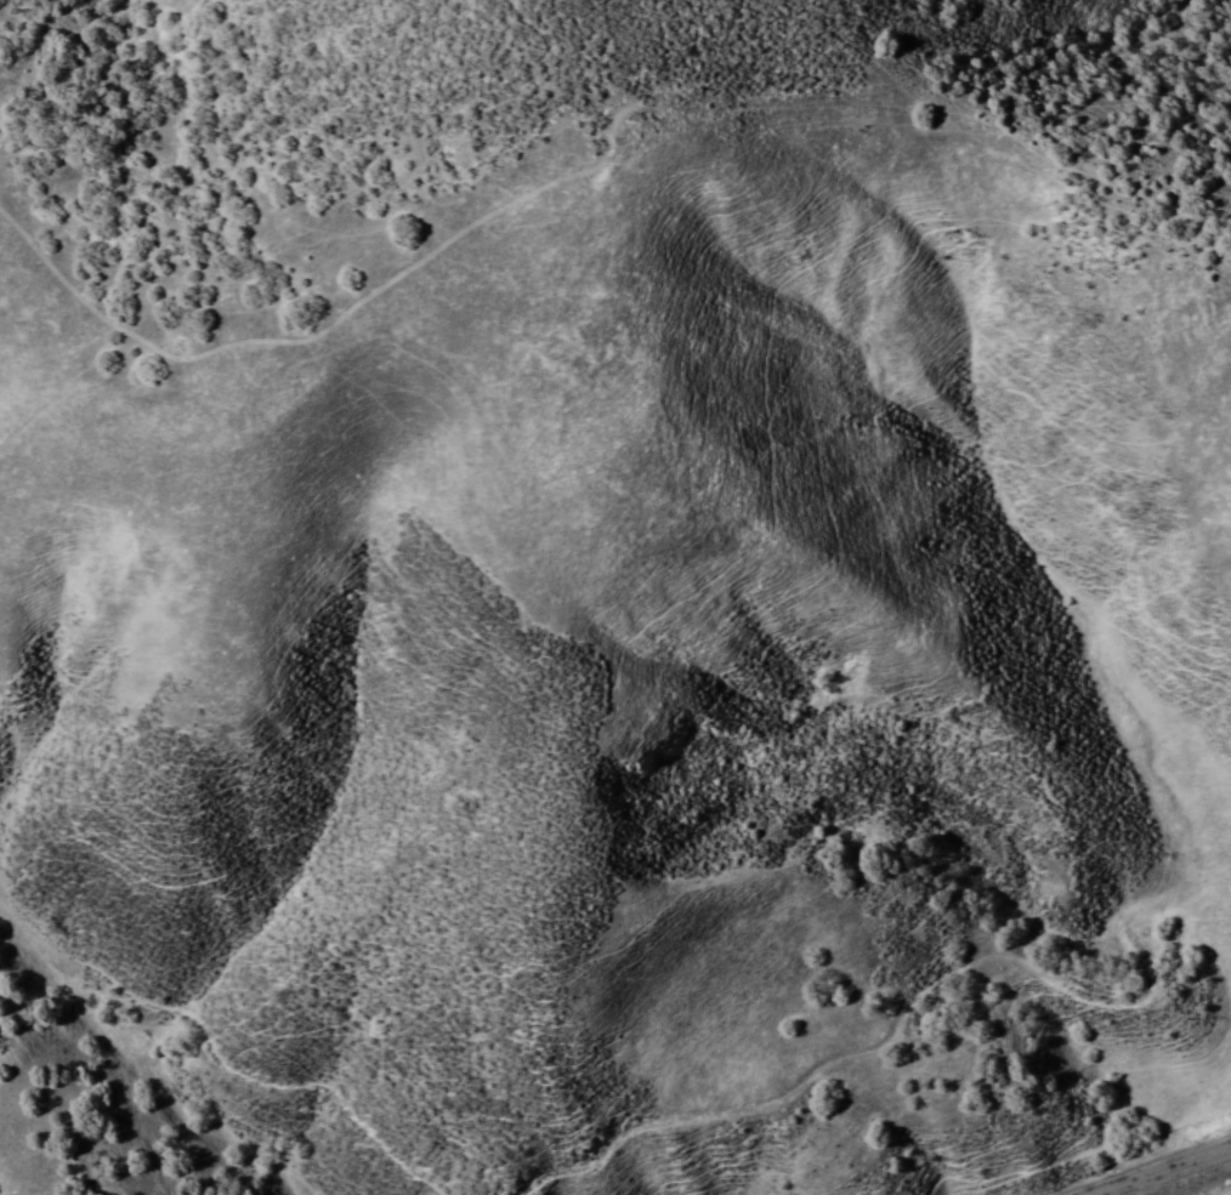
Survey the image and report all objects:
road: (1162, 1171)

